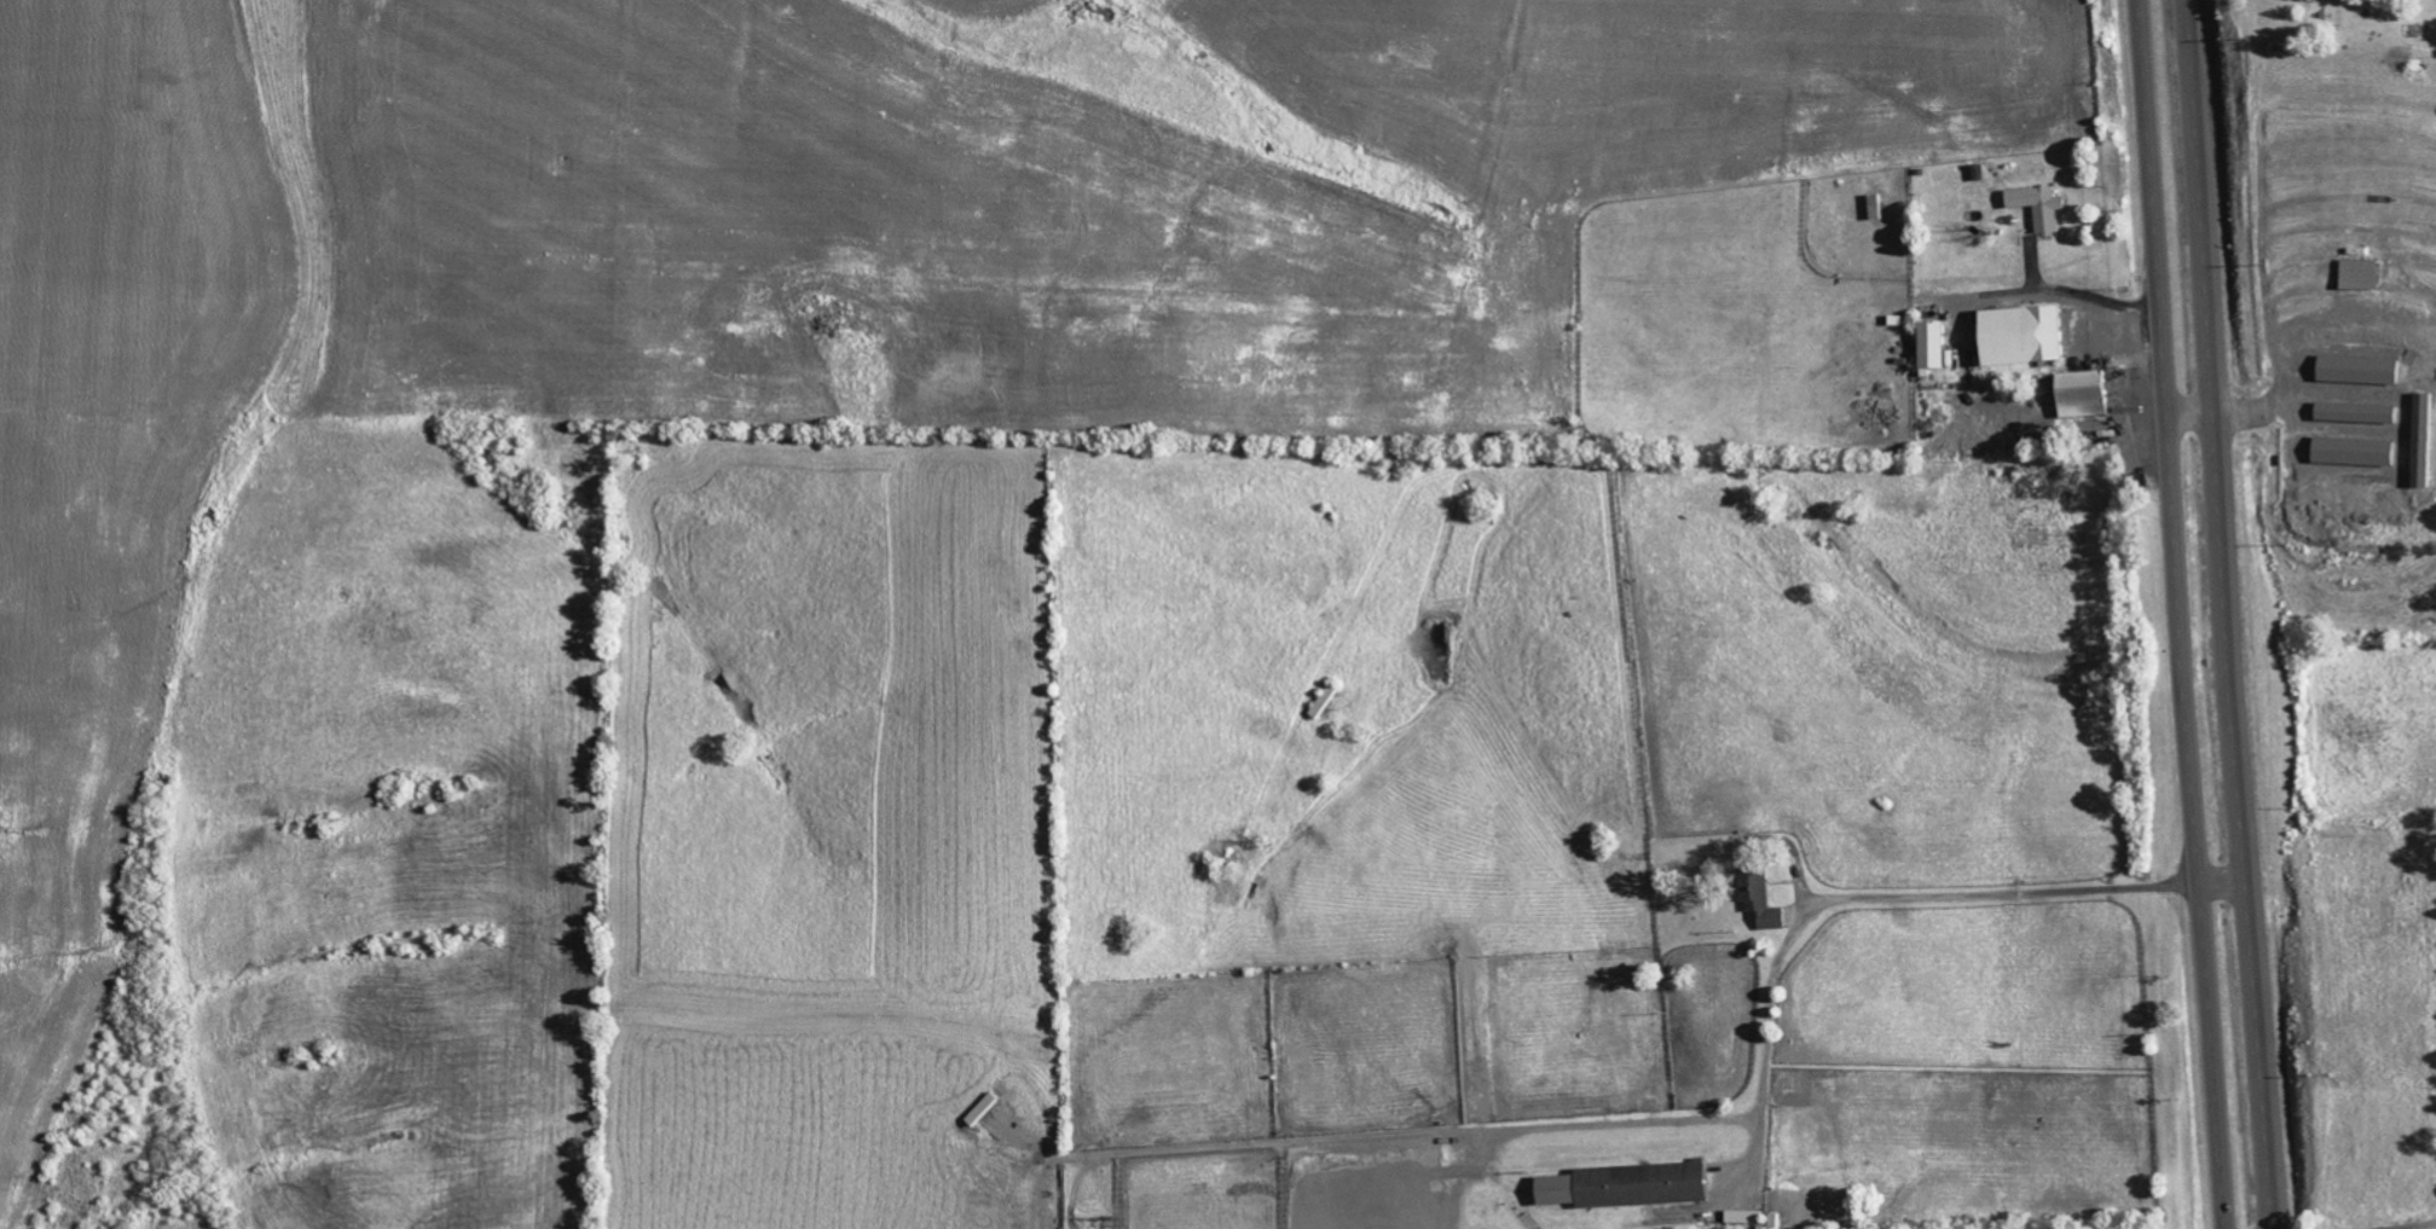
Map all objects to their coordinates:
building: (2043, 205)
building: (1881, 207)
building: (2363, 274)
building: (2029, 335)
building: (1939, 346)
building: (2362, 370)
building: (2087, 394)
road: (2226, 413)
building: (2362, 413)
building: (2361, 451)
road: (2180, 614)
road: (2226, 614)
road: (1856, 898)
building: (1766, 900)
building: (1632, 1185)
building: (1749, 1217)

